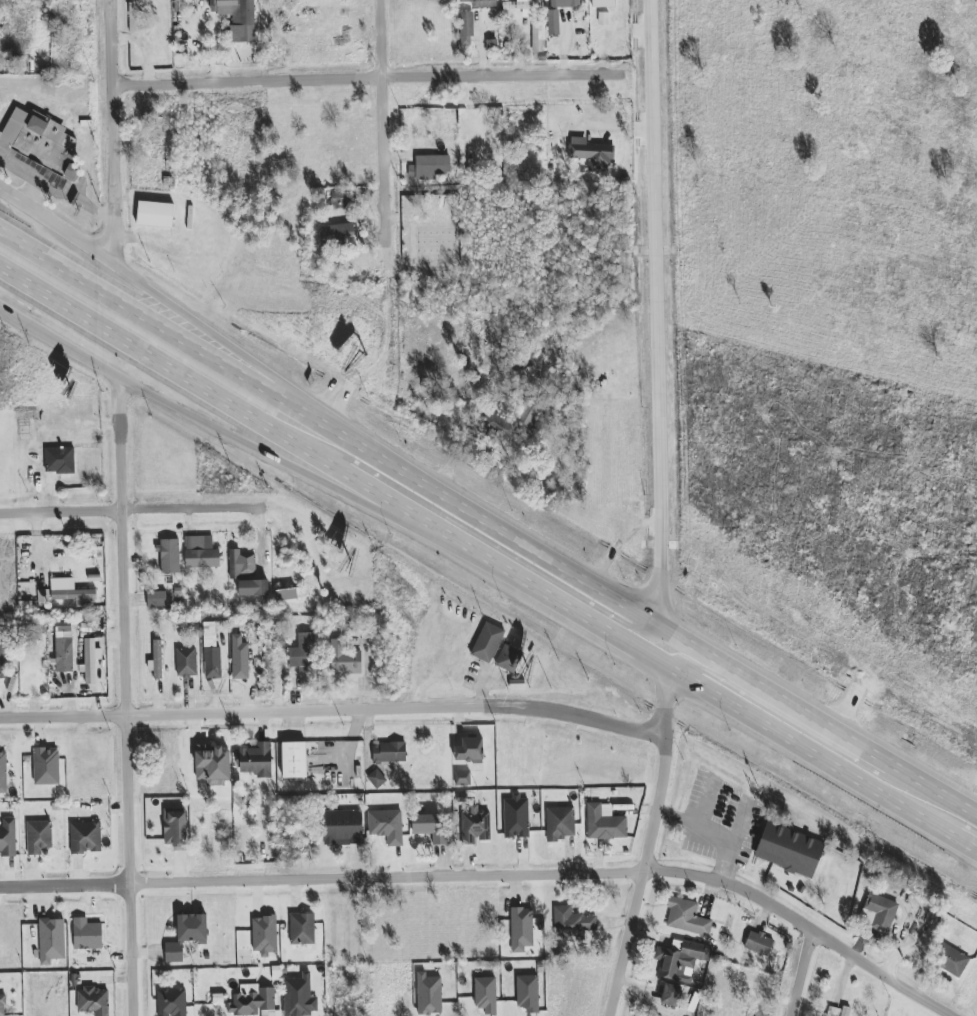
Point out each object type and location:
building: (481, 3)
building: (564, 3)
building: (603, 3)
building: (522, 7)
building: (237, 18)
building: (553, 25)
building: (466, 29)
building: (538, 42)
road: (372, 85)
building: (450, 120)
road: (118, 132)
building: (40, 142)
road: (387, 146)
building: (591, 154)
building: (430, 167)
building: (339, 198)
building: (155, 215)
road: (155, 294)
road: (655, 312)
road: (152, 318)
building: (528, 417)
road: (293, 442)
building: (60, 460)
road: (291, 466)
road: (134, 512)
road: (481, 516)
road: (495, 547)
building: (201, 552)
building: (169, 556)
building: (240, 564)
building: (253, 588)
building: (71, 592)
building: (156, 599)
building: (487, 642)
building: (251, 646)
building: (64, 652)
building: (211, 652)
building: (303, 654)
building: (5, 657)
building: (344, 659)
building: (508, 659)
building: (156, 660)
building: (90, 661)
building: (186, 663)
road: (731, 669)
road: (734, 688)
road: (128, 695)
road: (335, 704)
road: (782, 736)
road: (846, 740)
building: (469, 750)
building: (388, 752)
building: (256, 760)
building: (294, 760)
building: (213, 765)
building: (46, 766)
building: (3, 772)
building: (462, 778)
building: (376, 779)
road: (933, 793)
road: (705, 802)
building: (516, 817)
building: (560, 823)
building: (604, 823)
building: (387, 826)
building: (474, 826)
building: (429, 827)
road: (740, 827)
building: (343, 828)
building: (175, 829)
road: (713, 834)
building: (38, 837)
building: (85, 837)
building: (8, 838)
road: (651, 842)
building: (789, 850)
road: (496, 874)
building: (881, 912)
building: (686, 918)
building: (572, 923)
building: (302, 929)
building: (521, 929)
building: (86, 934)
building: (186, 935)
building: (264, 935)
building: (52, 940)
building: (758, 943)
building: (681, 961)
building: (953, 962)
road: (804, 974)
building: (741, 980)
building: (527, 993)
building: (428, 994)
building: (486, 995)
building: (669, 995)
building: (299, 996)
building: (217, 1000)
building: (93, 1001)
building: (171, 1002)
building: (254, 1003)
building: (2, 1006)
building: (837, 1011)

